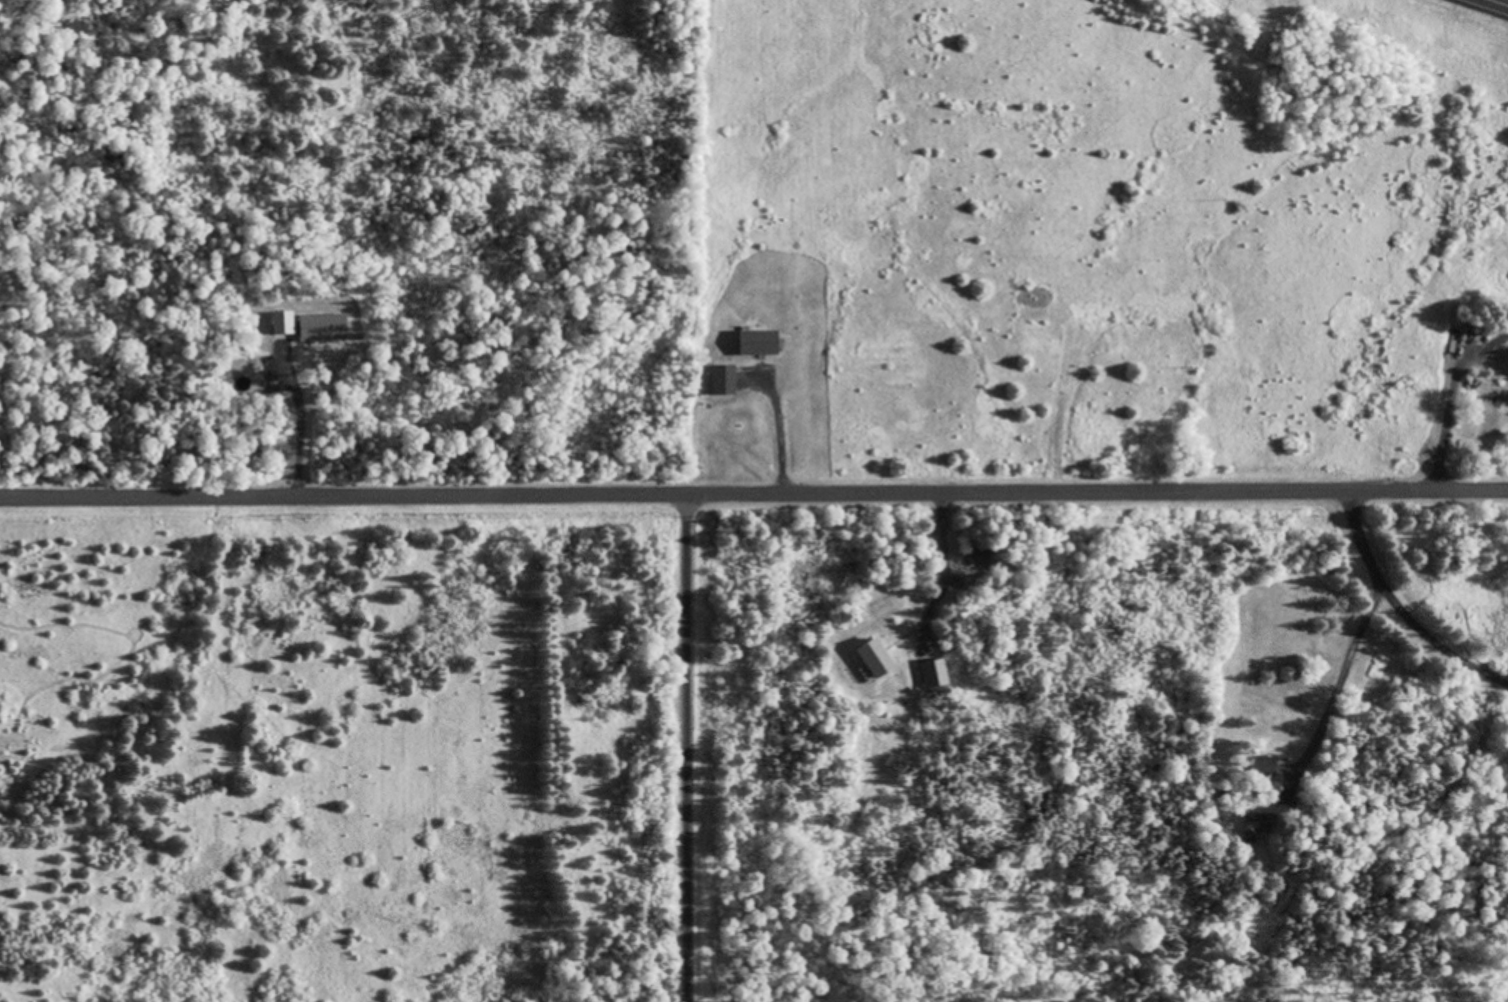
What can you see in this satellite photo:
road: (1500, 2)
building: (312, 327)
building: (762, 344)
building: (1496, 356)
building: (1495, 387)
road: (754, 496)
building: (866, 658)
building: (933, 673)
road: (685, 749)

